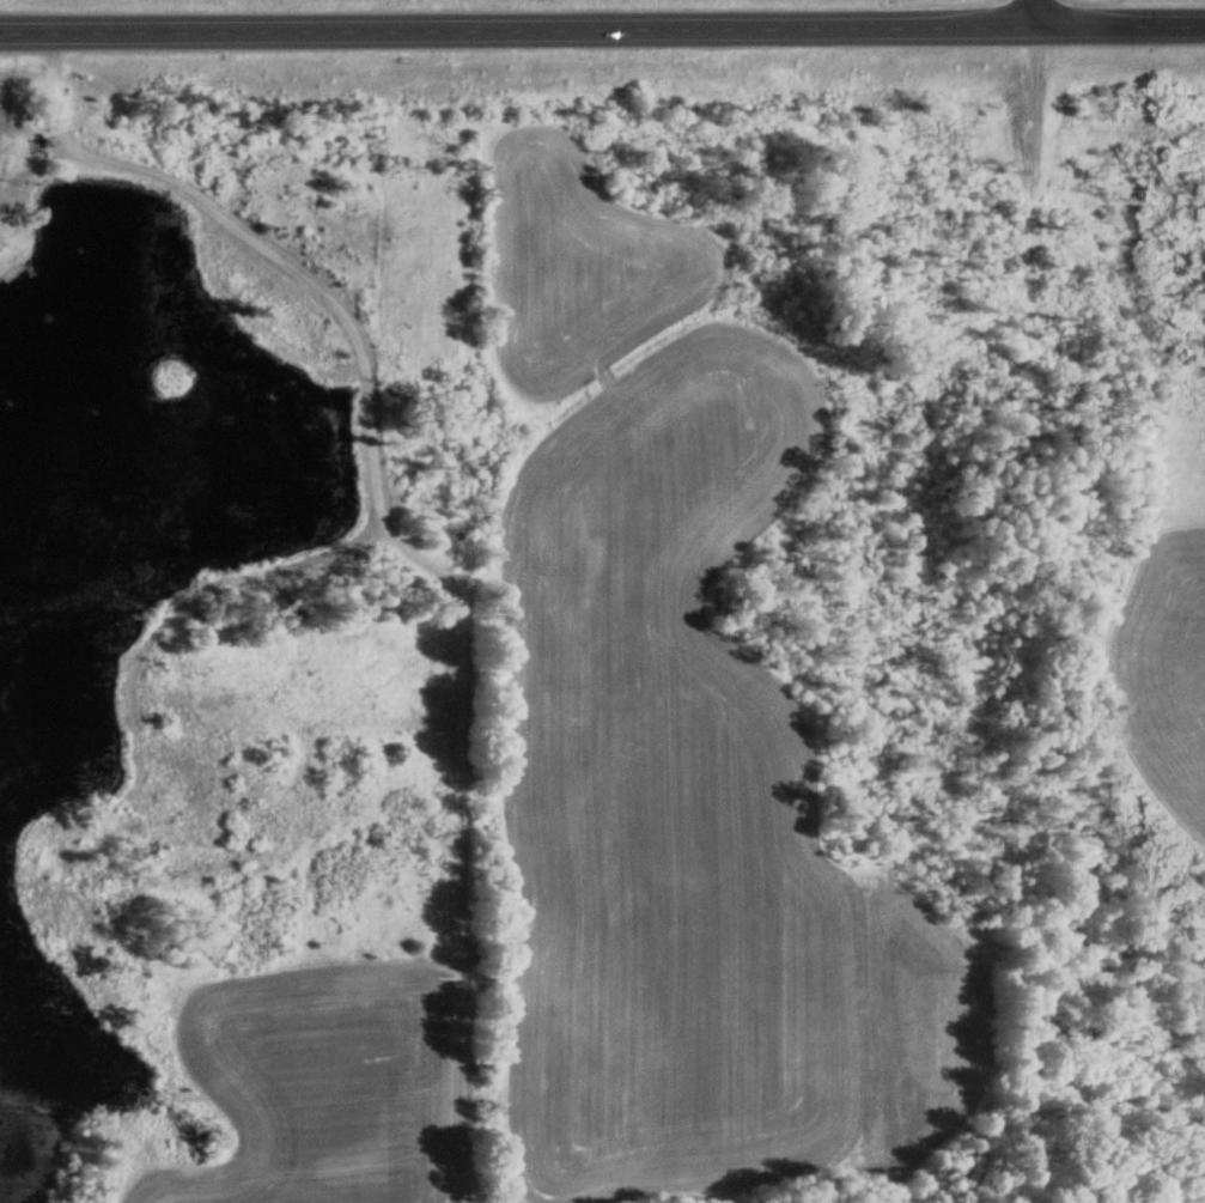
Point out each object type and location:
road: (1033, 14)
road: (602, 29)
crop: (1163, 650)
crop: (652, 711)
crop: (322, 1081)

